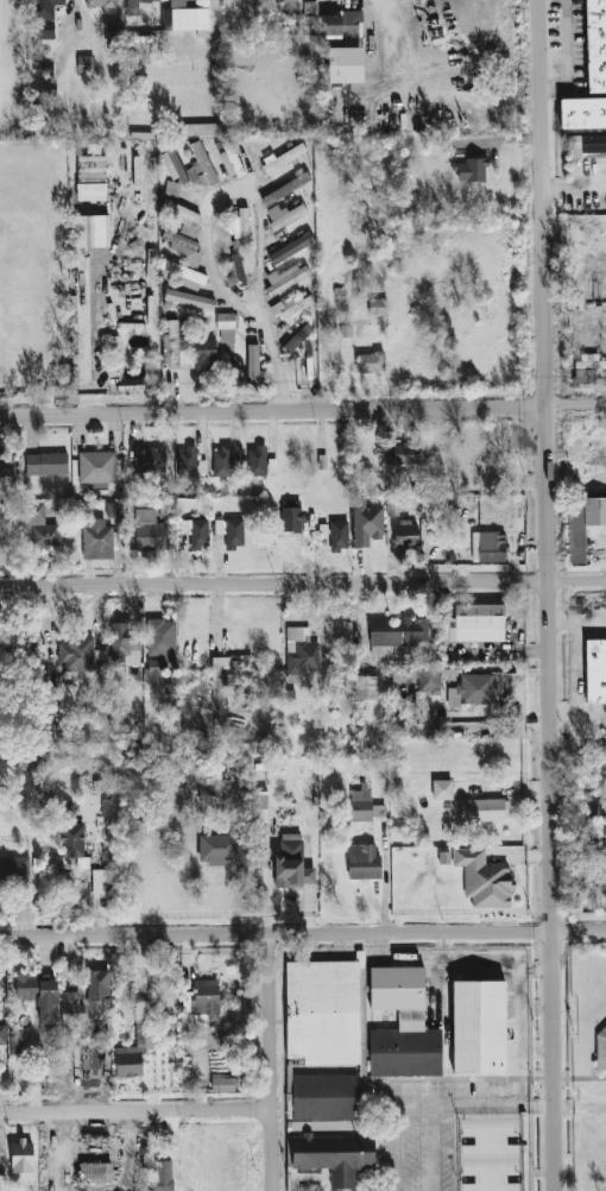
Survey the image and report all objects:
building: (288, 1)
building: (141, 2)
building: (100, 4)
building: (44, 18)
building: (188, 19)
building: (341, 24)
building: (309, 25)
building: (113, 37)
road: (389, 39)
building: (595, 45)
road: (564, 56)
building: (84, 64)
building: (42, 70)
building: (39, 93)
building: (582, 113)
building: (200, 130)
building: (586, 145)
building: (283, 158)
building: (190, 166)
building: (89, 170)
building: (471, 170)
road: (576, 182)
building: (285, 189)
building: (90, 193)
road: (543, 202)
building: (179, 212)
building: (239, 227)
building: (89, 232)
building: (183, 247)
building: (290, 248)
building: (235, 270)
building: (184, 275)
building: (285, 278)
building: (189, 300)
building: (291, 307)
building: (377, 307)
road: (242, 308)
building: (226, 328)
road: (83, 333)
building: (296, 339)
building: (170, 344)
building: (204, 354)
building: (370, 363)
road: (284, 364)
building: (252, 365)
building: (588, 368)
road: (575, 404)
road: (272, 411)
building: (402, 454)
building: (149, 460)
building: (255, 461)
building: (187, 462)
building: (221, 462)
building: (45, 464)
building: (6, 465)
building: (96, 467)
building: (291, 517)
building: (365, 522)
building: (582, 524)
building: (39, 527)
building: (147, 531)
building: (231, 533)
building: (405, 534)
building: (198, 535)
building: (337, 536)
building: (99, 541)
building: (487, 547)
road: (303, 582)
road: (577, 619)
building: (478, 623)
building: (396, 635)
building: (160, 641)
building: (124, 644)
building: (301, 650)
building: (76, 655)
building: (595, 670)
building: (154, 673)
road: (582, 673)
building: (403, 675)
building: (428, 679)
building: (365, 688)
building: (472, 691)
building: (235, 701)
road: (577, 724)
building: (441, 790)
road: (551, 798)
building: (5, 801)
building: (361, 805)
building: (484, 811)
building: (596, 830)
building: (71, 836)
building: (217, 850)
building: (362, 862)
building: (291, 864)
building: (14, 867)
building: (605, 869)
building: (264, 876)
building: (484, 880)
building: (99, 884)
road: (303, 933)
building: (97, 990)
building: (37, 996)
building: (201, 1006)
building: (70, 1008)
building: (322, 1013)
building: (478, 1027)
building: (399, 1029)
building: (2, 1035)
building: (600, 1052)
road: (271, 1061)
building: (221, 1084)
road: (467, 1105)
road: (137, 1111)
building: (328, 1128)
road: (447, 1148)
road: (62, 1152)
building: (21, 1157)
building: (95, 1173)
building: (162, 1176)

